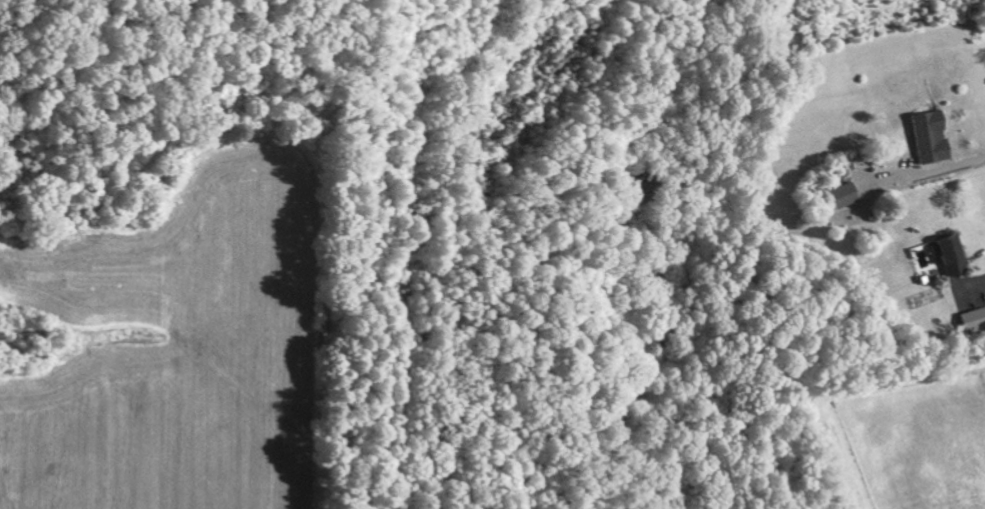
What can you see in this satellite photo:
building: (934, 136)
building: (847, 194)
building: (943, 252)
building: (970, 317)

